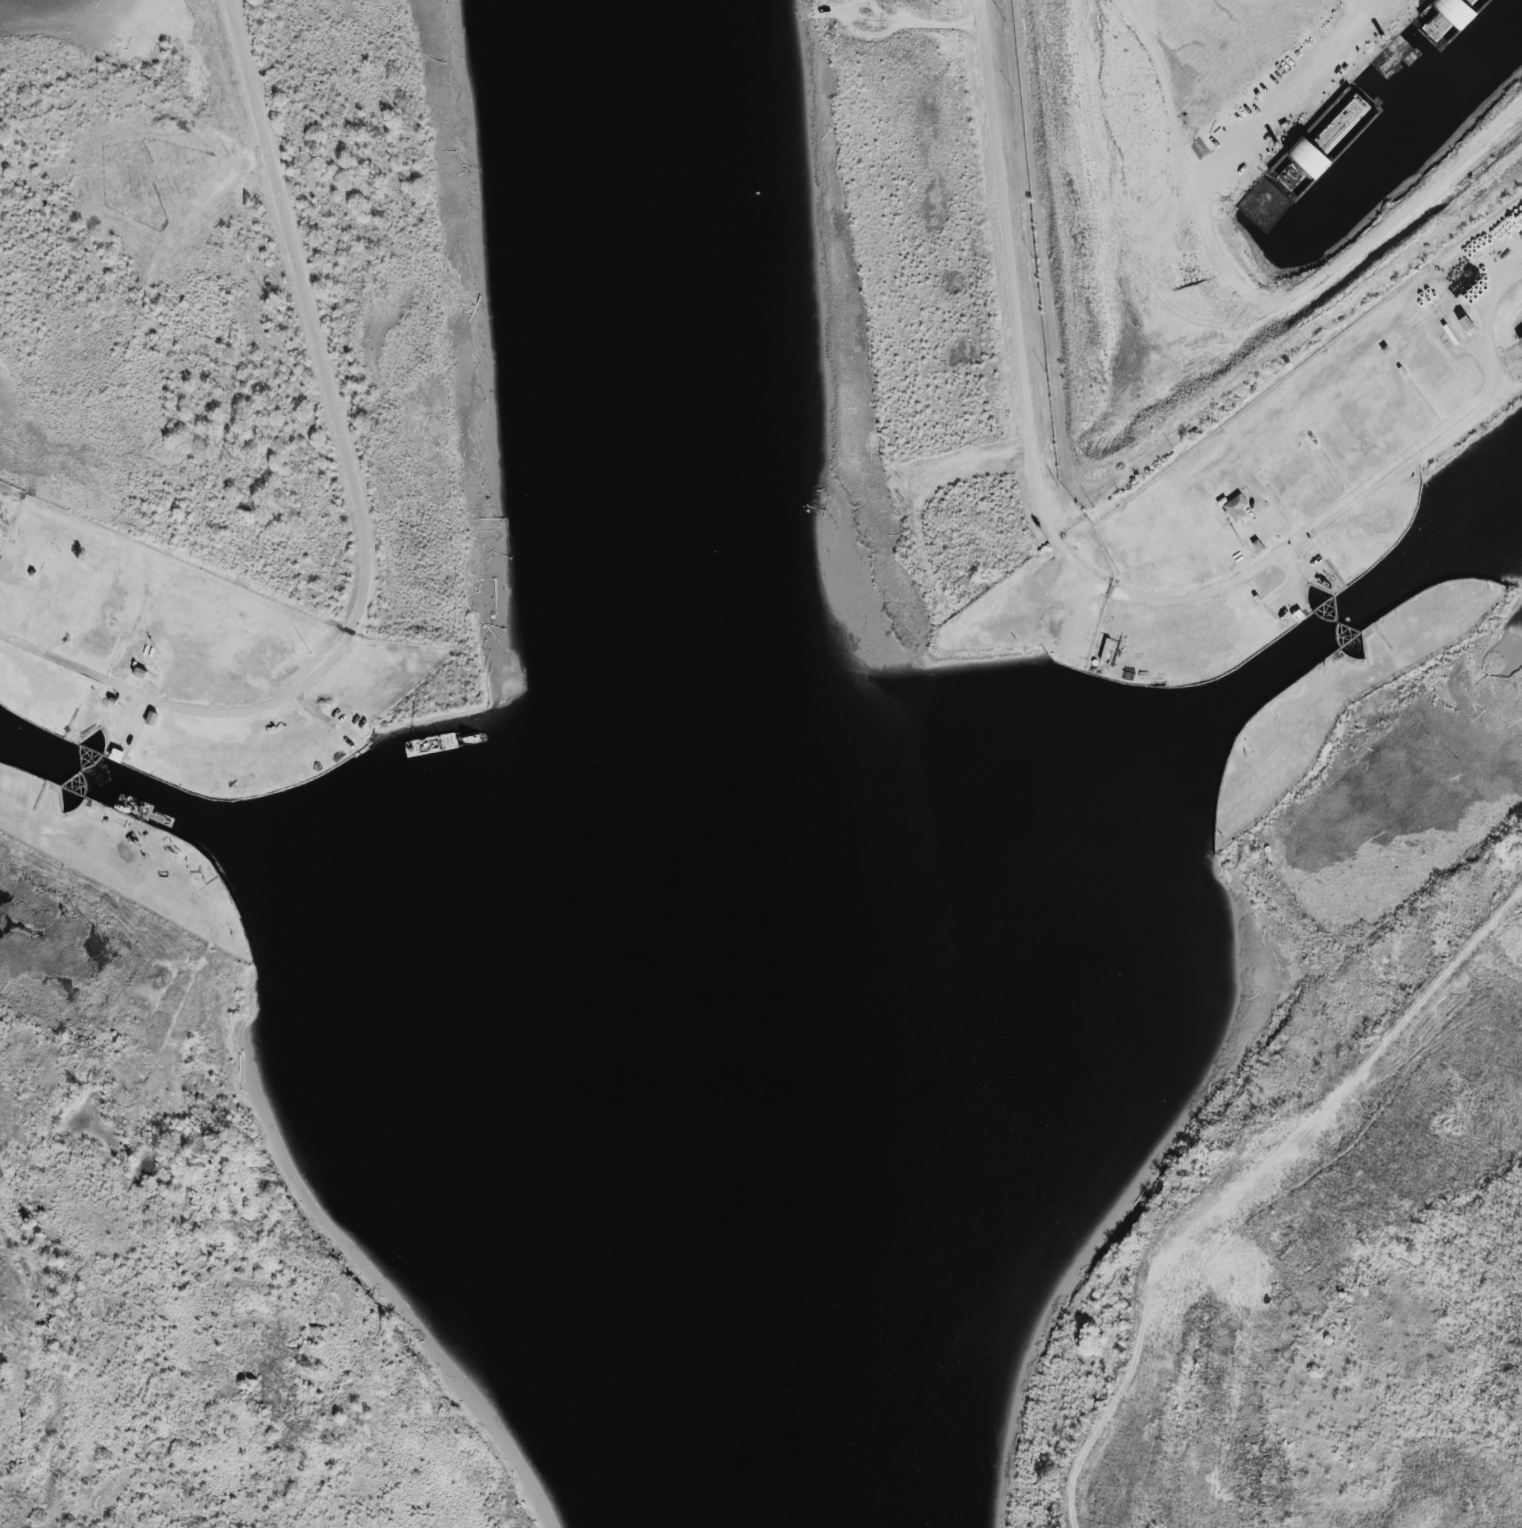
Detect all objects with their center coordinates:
building: (1272, 195)
building: (1520, 342)
building: (1235, 511)
road: (361, 512)
road: (1091, 583)
river: (698, 765)

